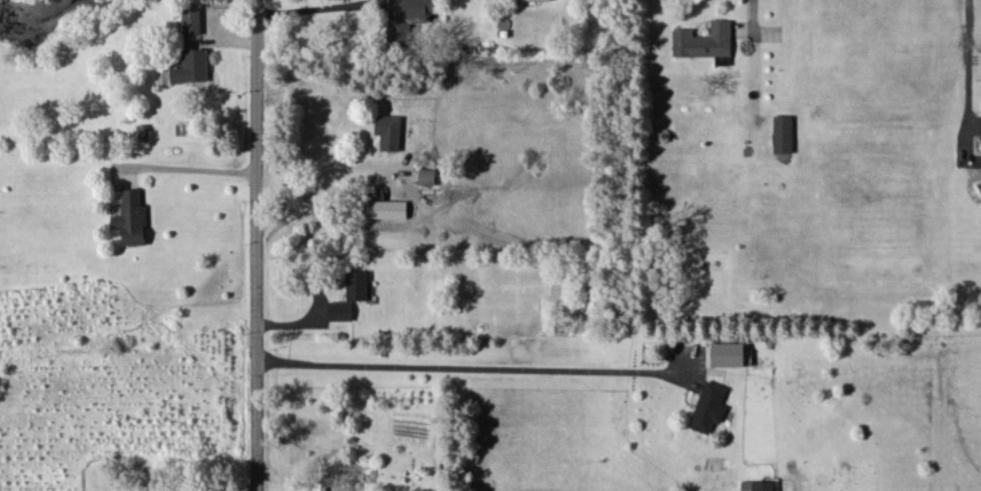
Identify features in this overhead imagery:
building: (543, 0)
road: (314, 5)
road: (752, 14)
building: (405, 18)
building: (191, 21)
building: (705, 42)
road: (964, 48)
building: (190, 66)
building: (388, 131)
building: (782, 134)
road: (191, 167)
building: (426, 176)
road: (327, 186)
building: (386, 209)
building: (131, 218)
road: (259, 245)
building: (356, 285)
building: (339, 310)
building: (730, 354)
road: (466, 369)
building: (708, 407)
building: (756, 485)

